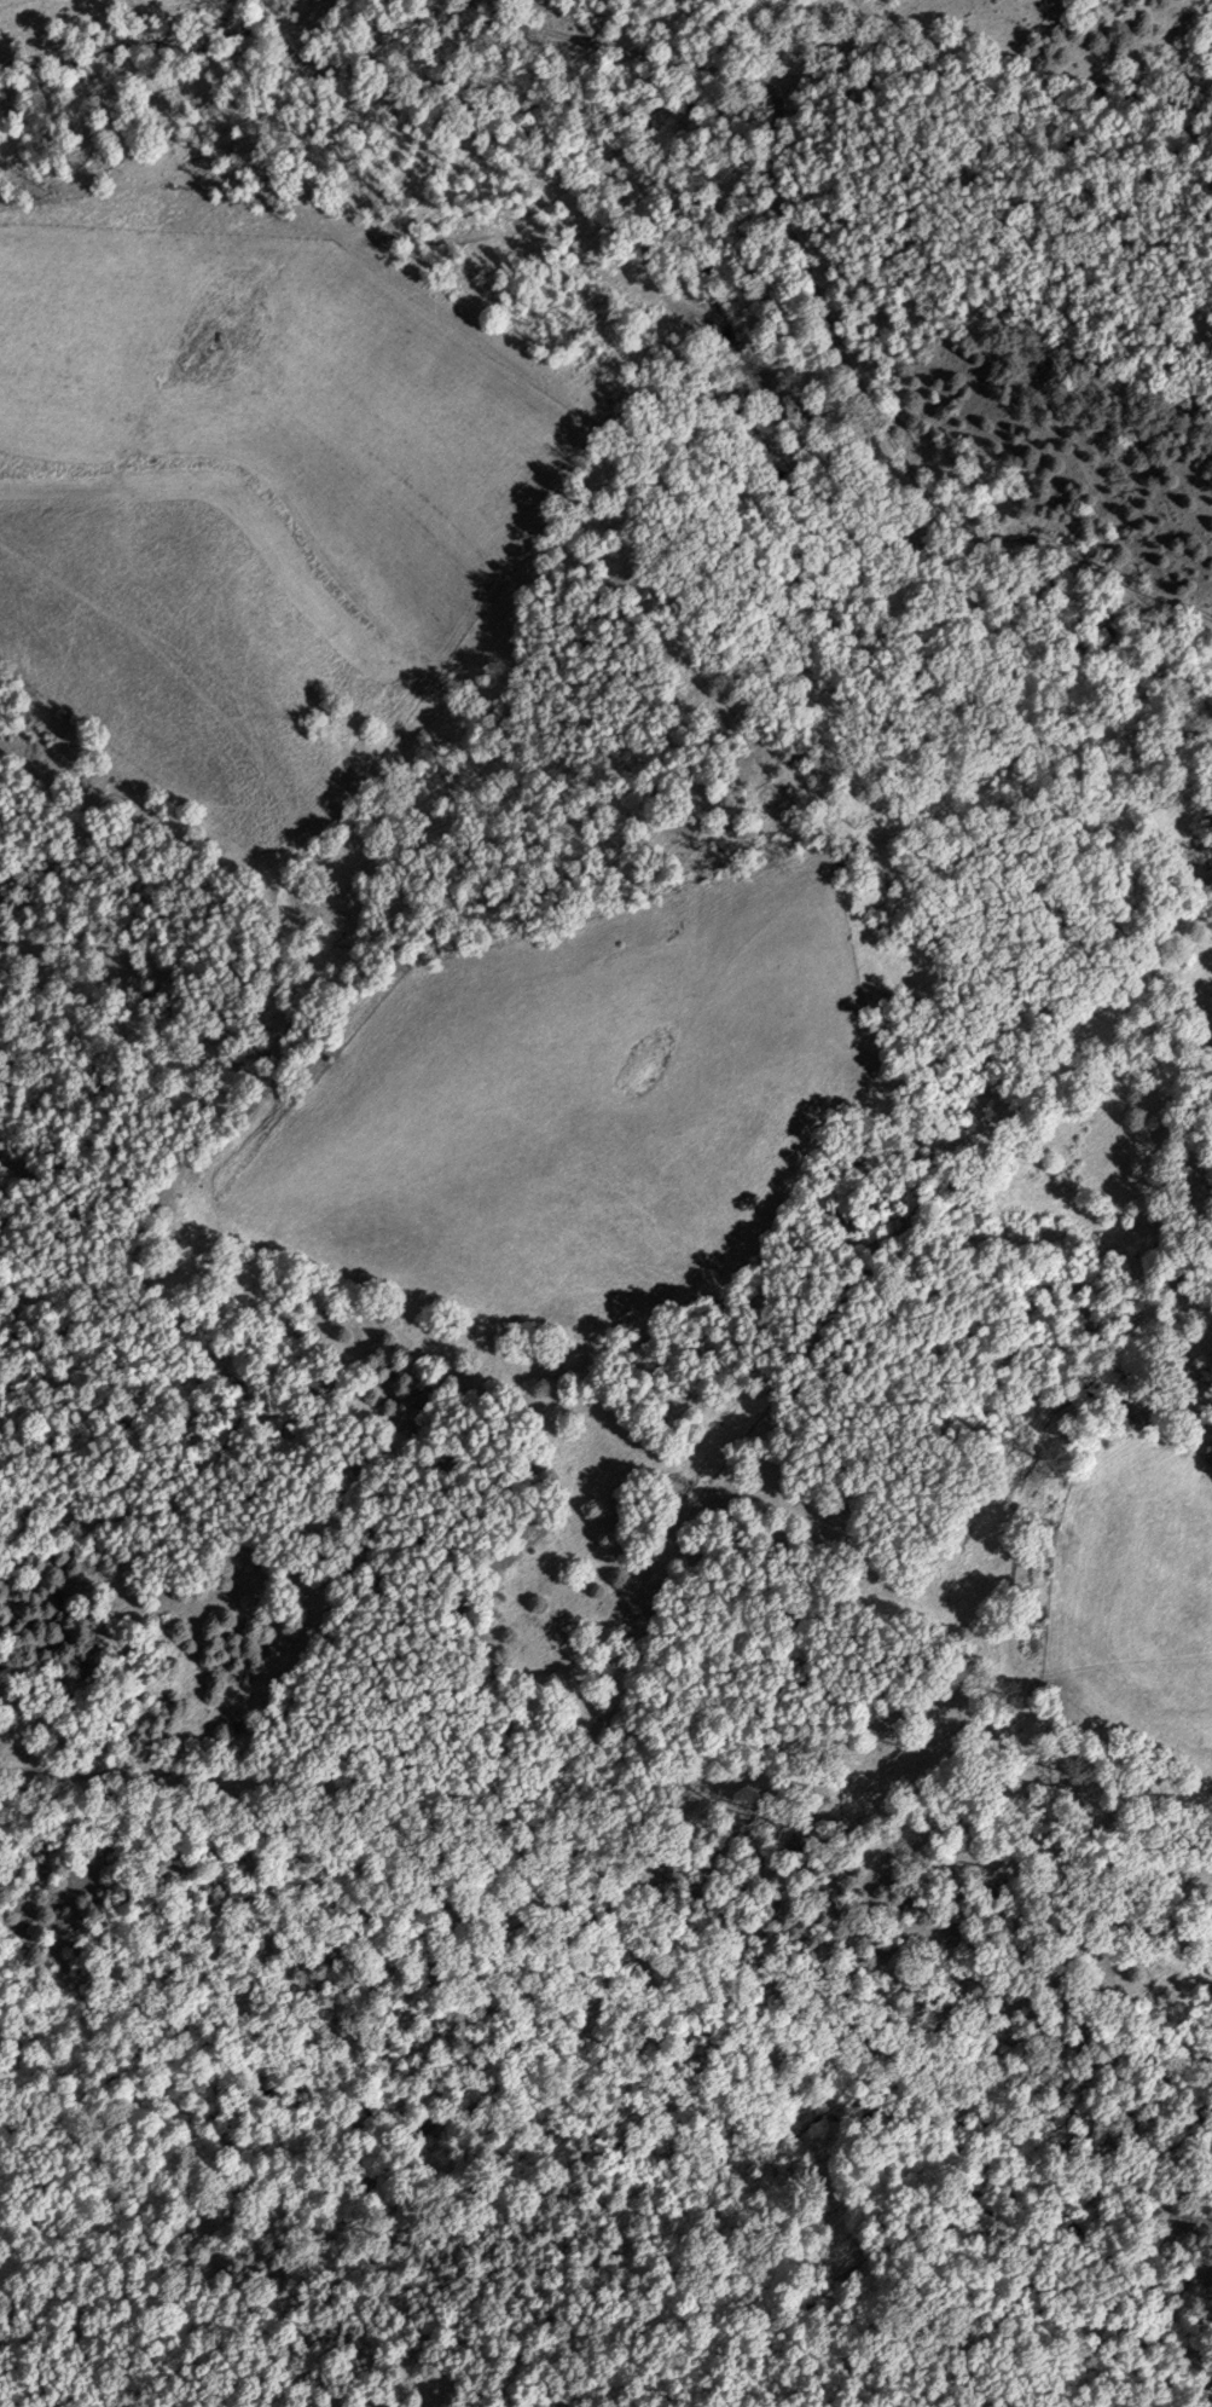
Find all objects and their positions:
road: (822, 285)

